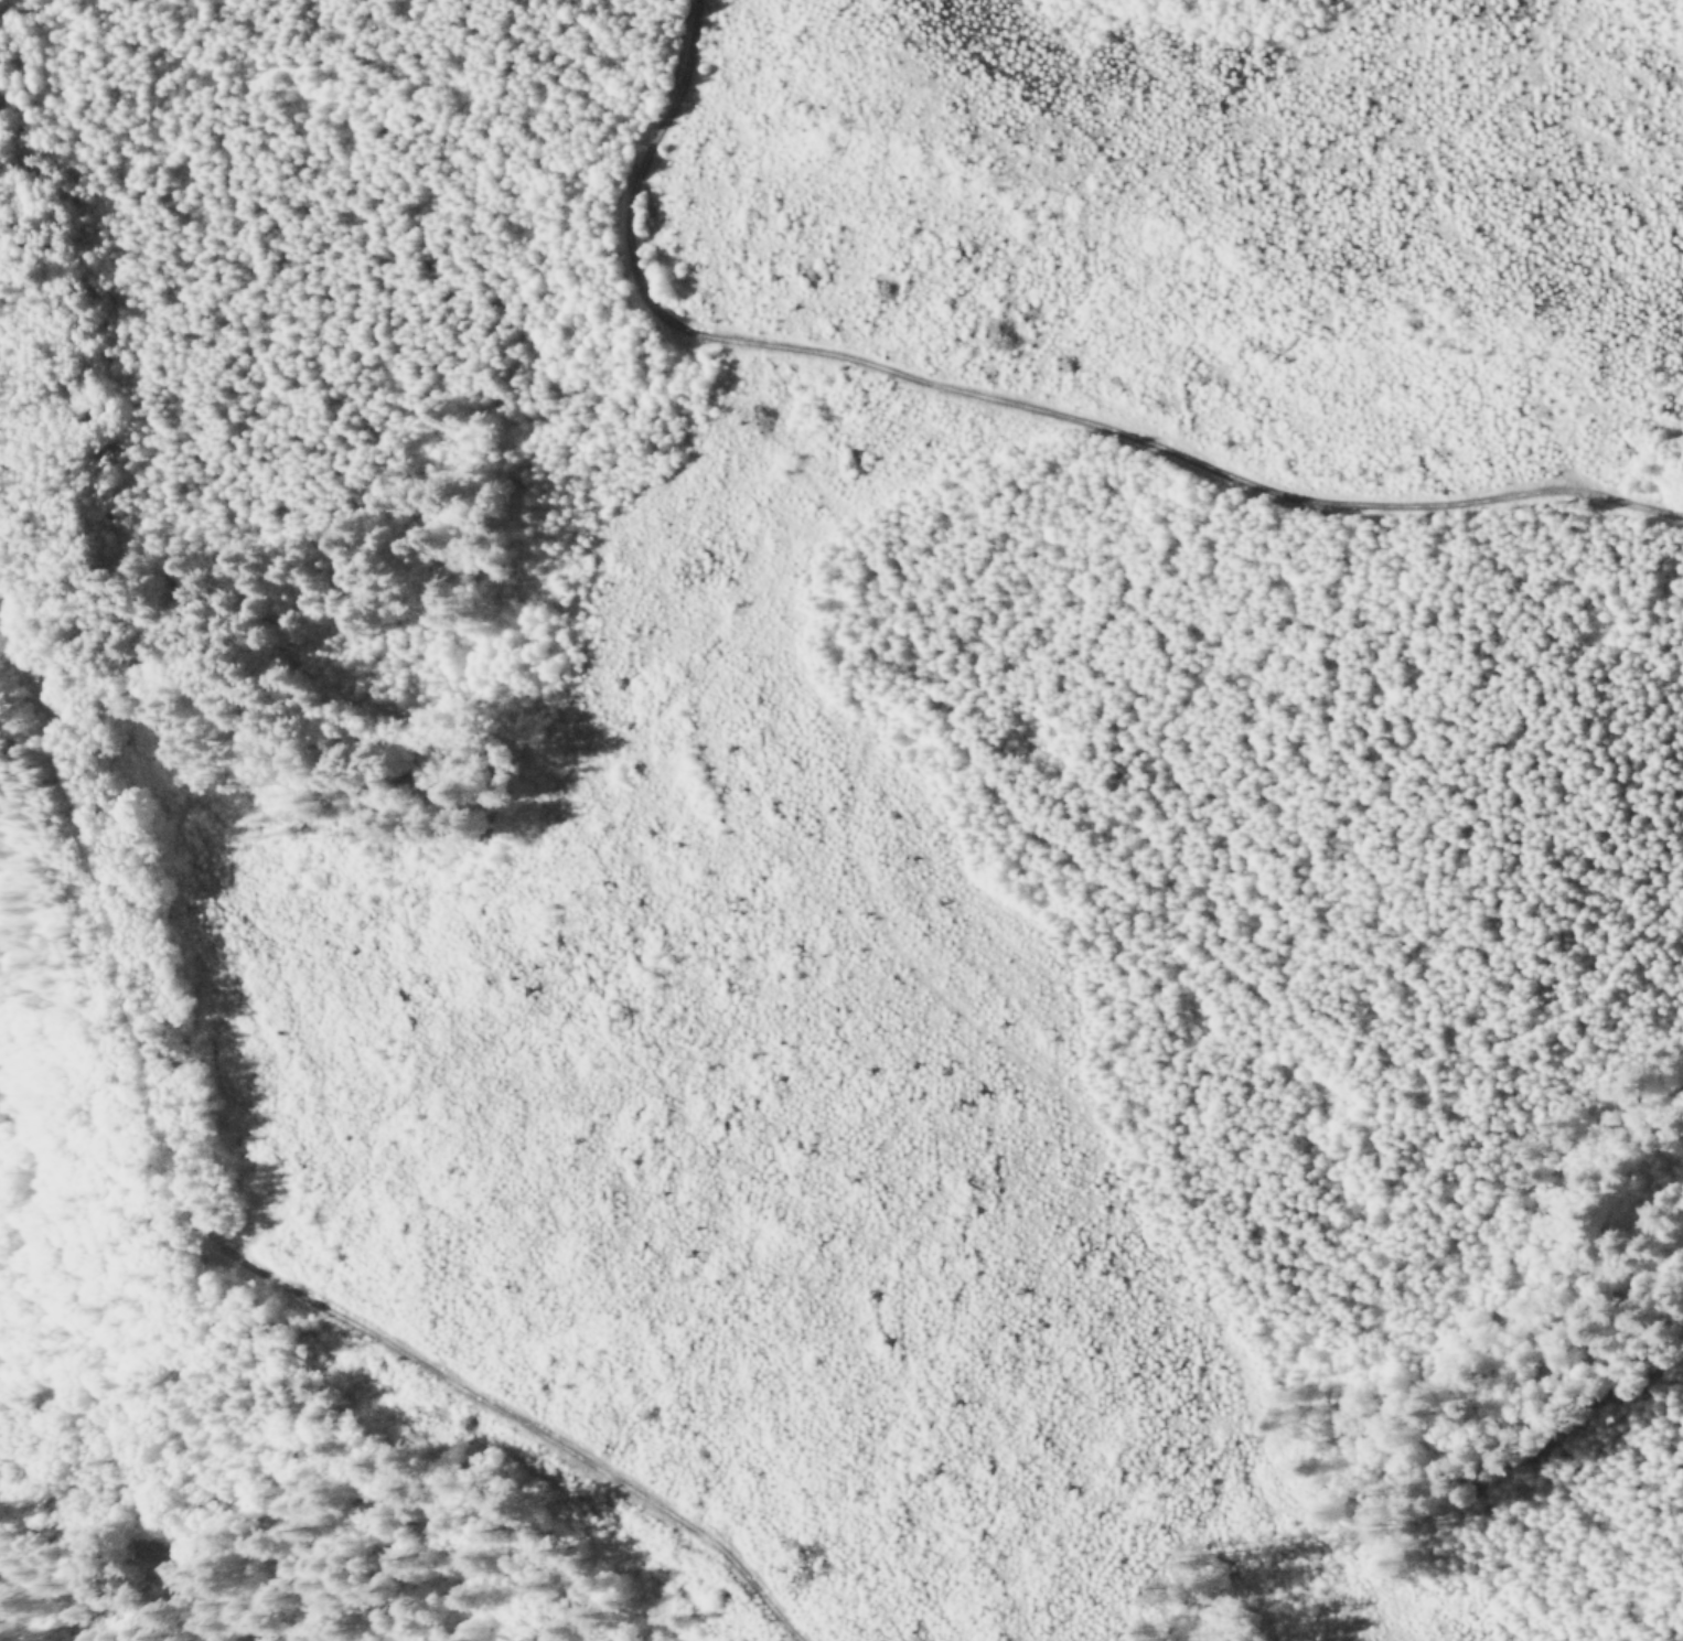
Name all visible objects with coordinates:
road: (998, 516)
road: (111, 946)

